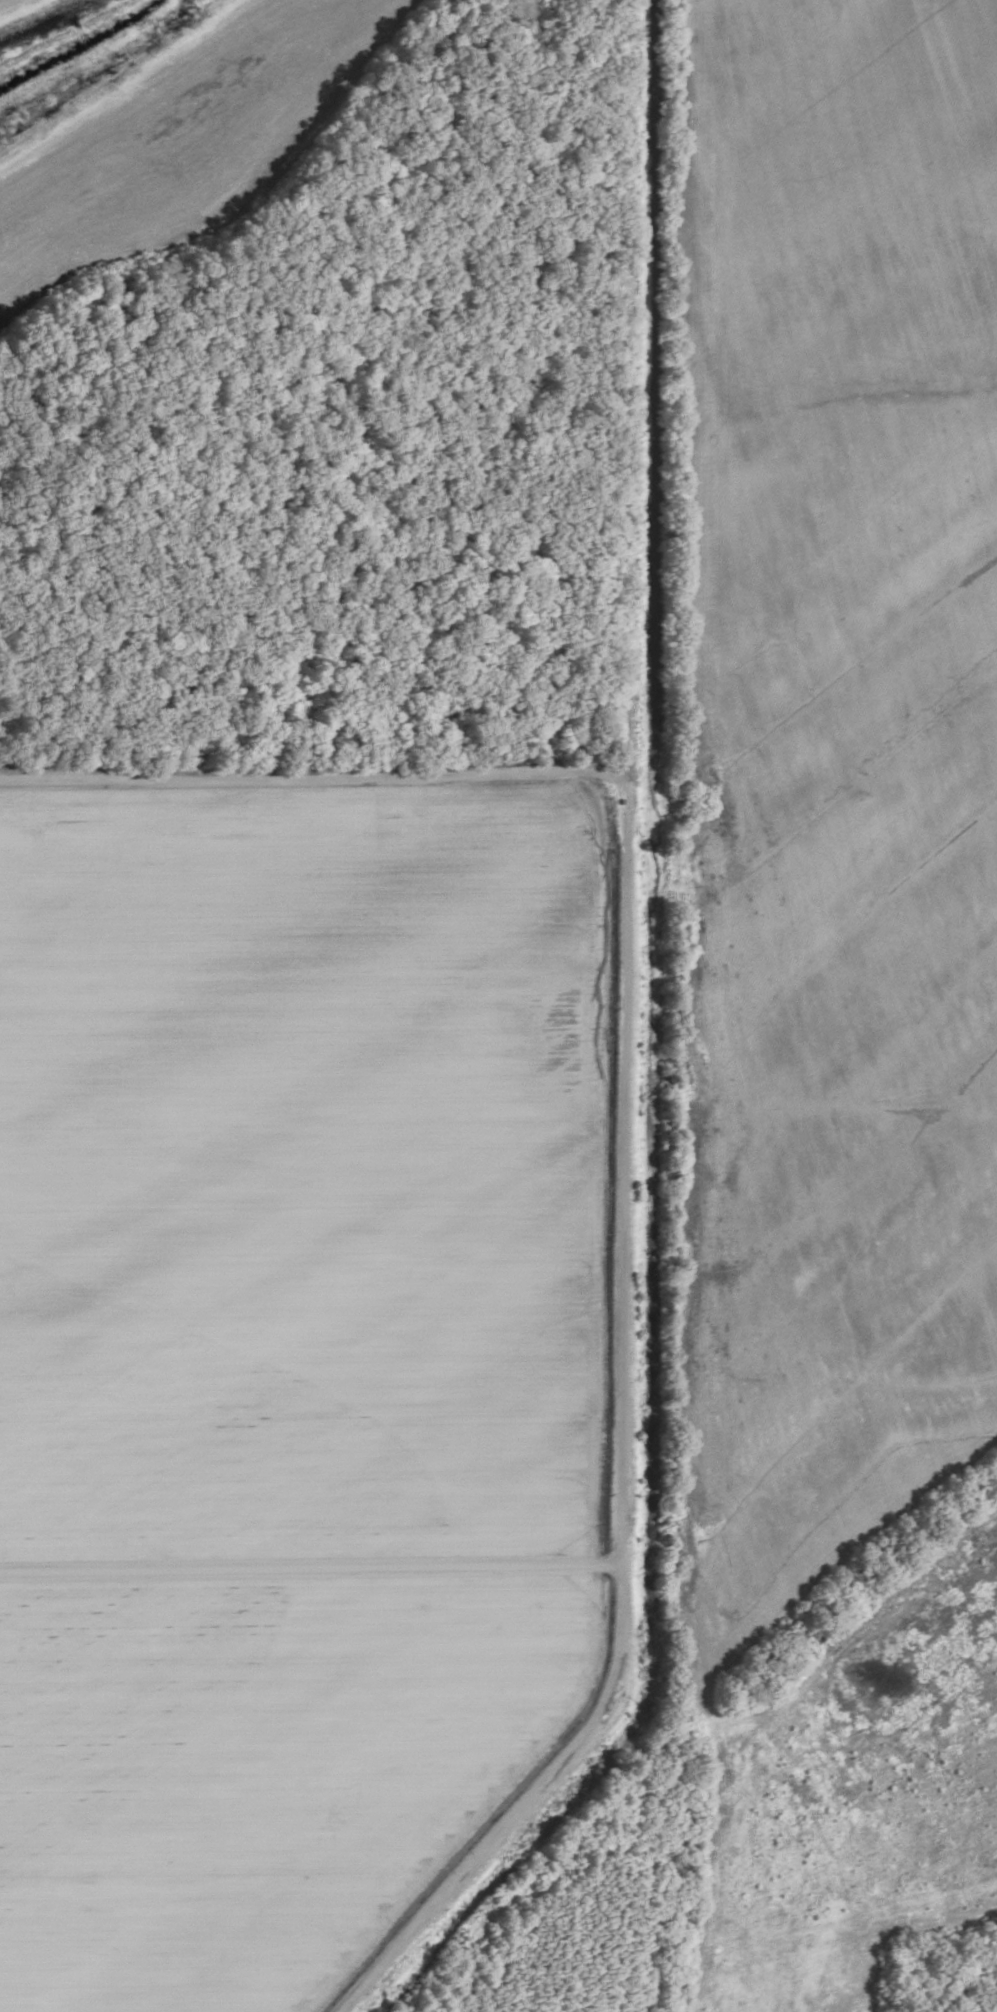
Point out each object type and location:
road: (604, 1443)
road: (300, 1567)

